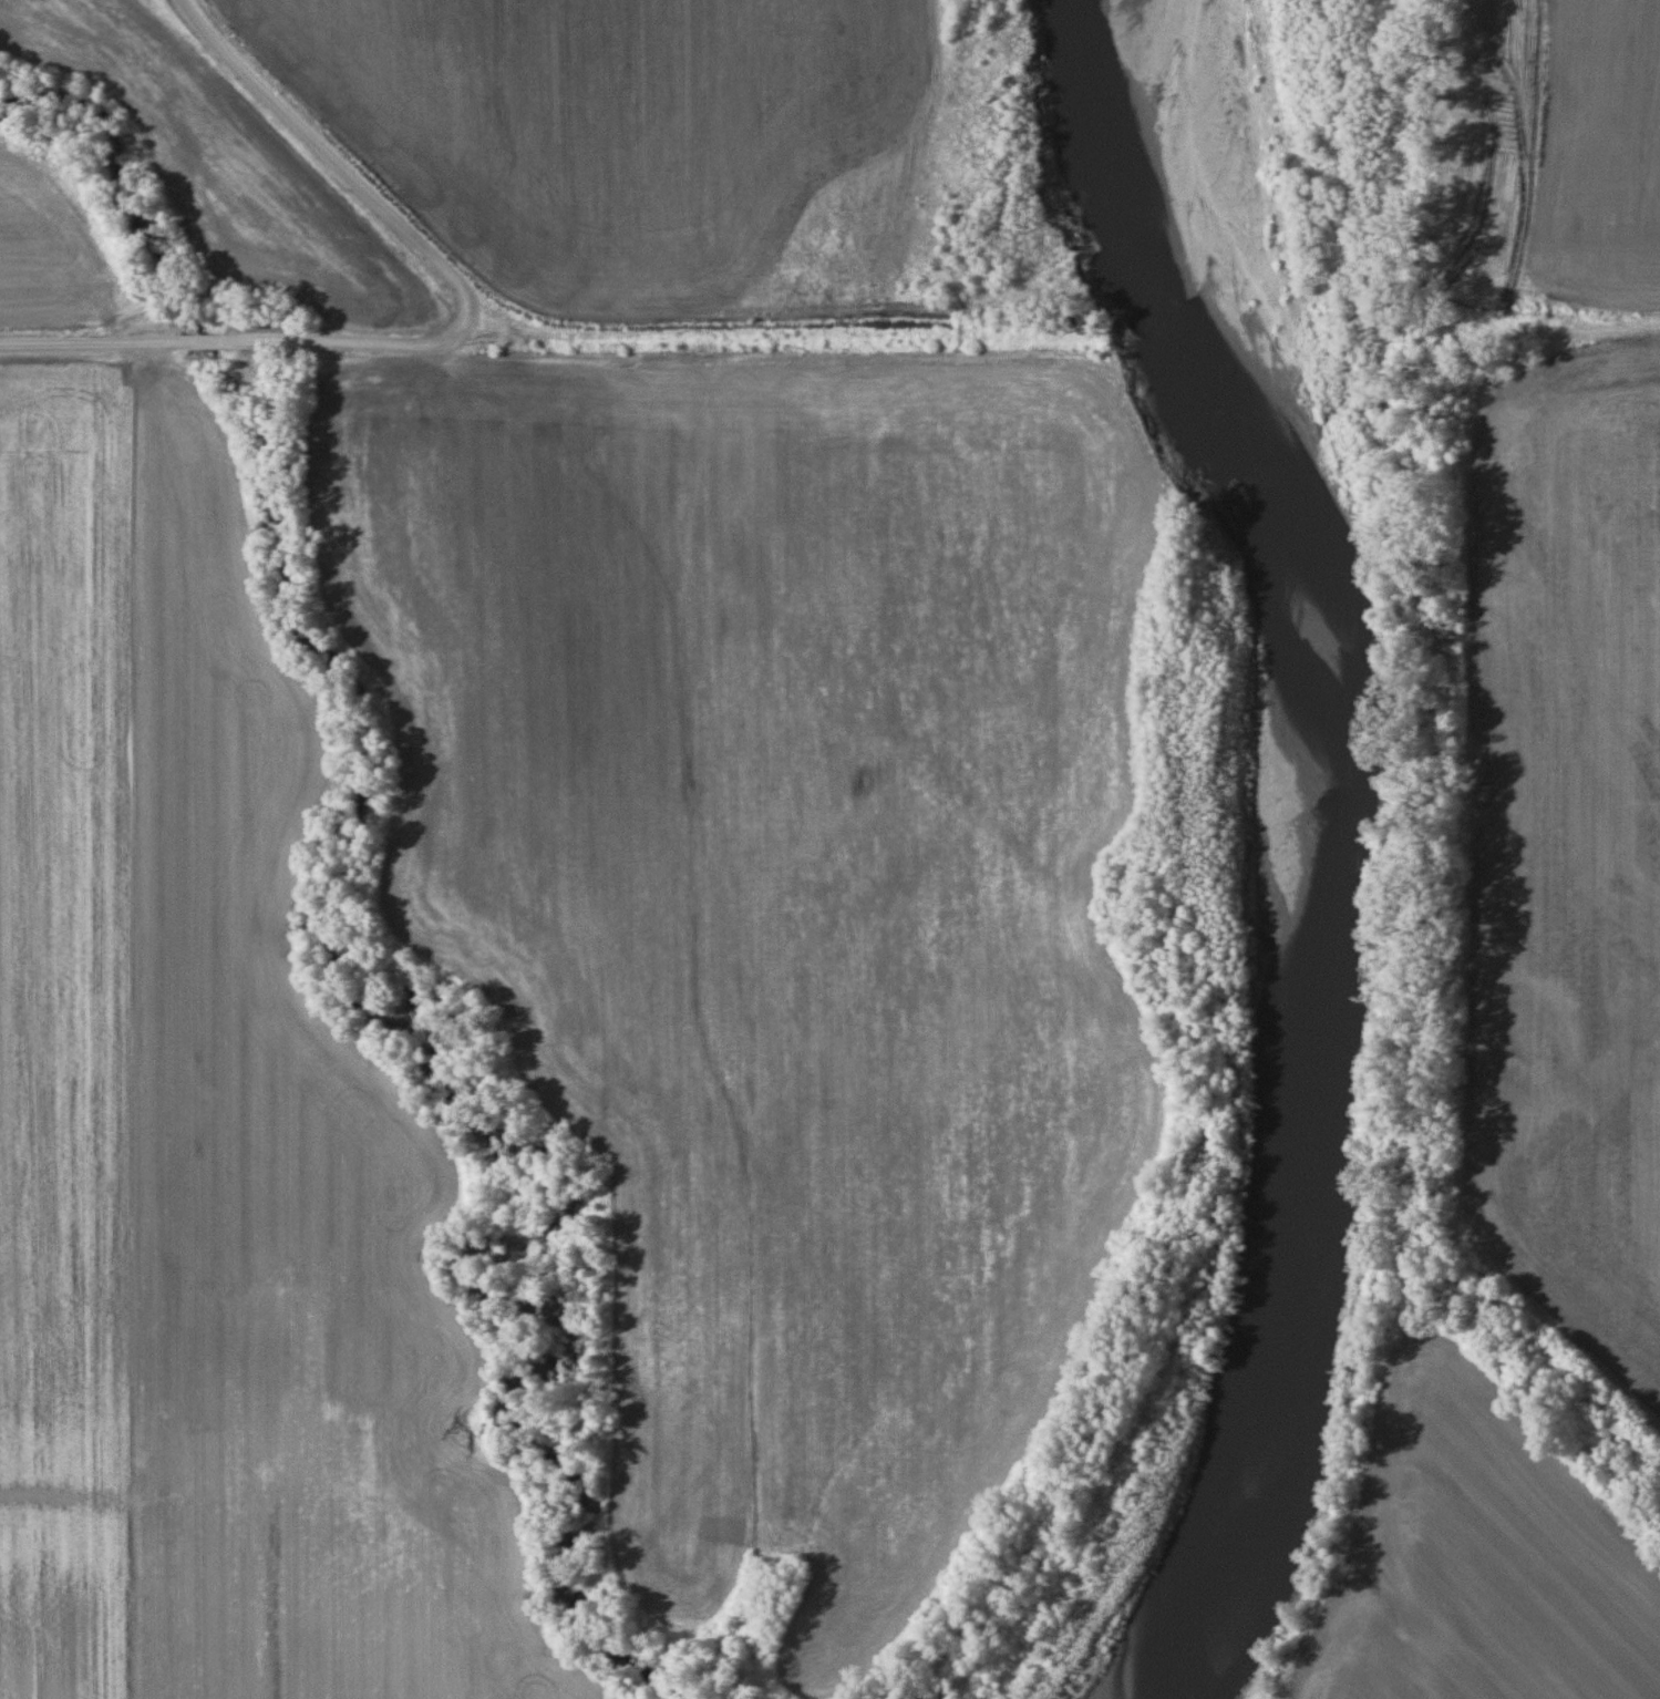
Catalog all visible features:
road: (337, 165)
river: (135, 210)
road: (1604, 327)
road: (810, 336)
road: (229, 339)
river: (427, 1043)

